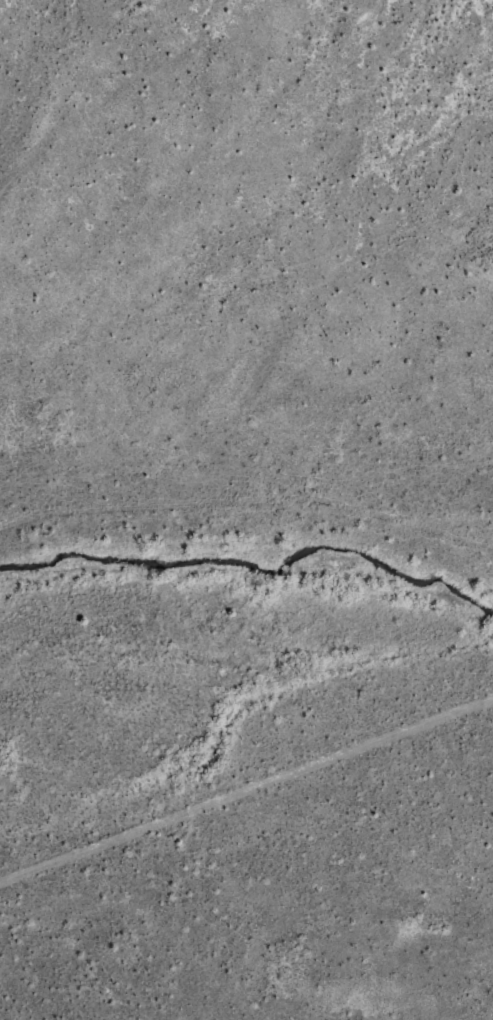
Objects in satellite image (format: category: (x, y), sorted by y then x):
river: (251, 559)

